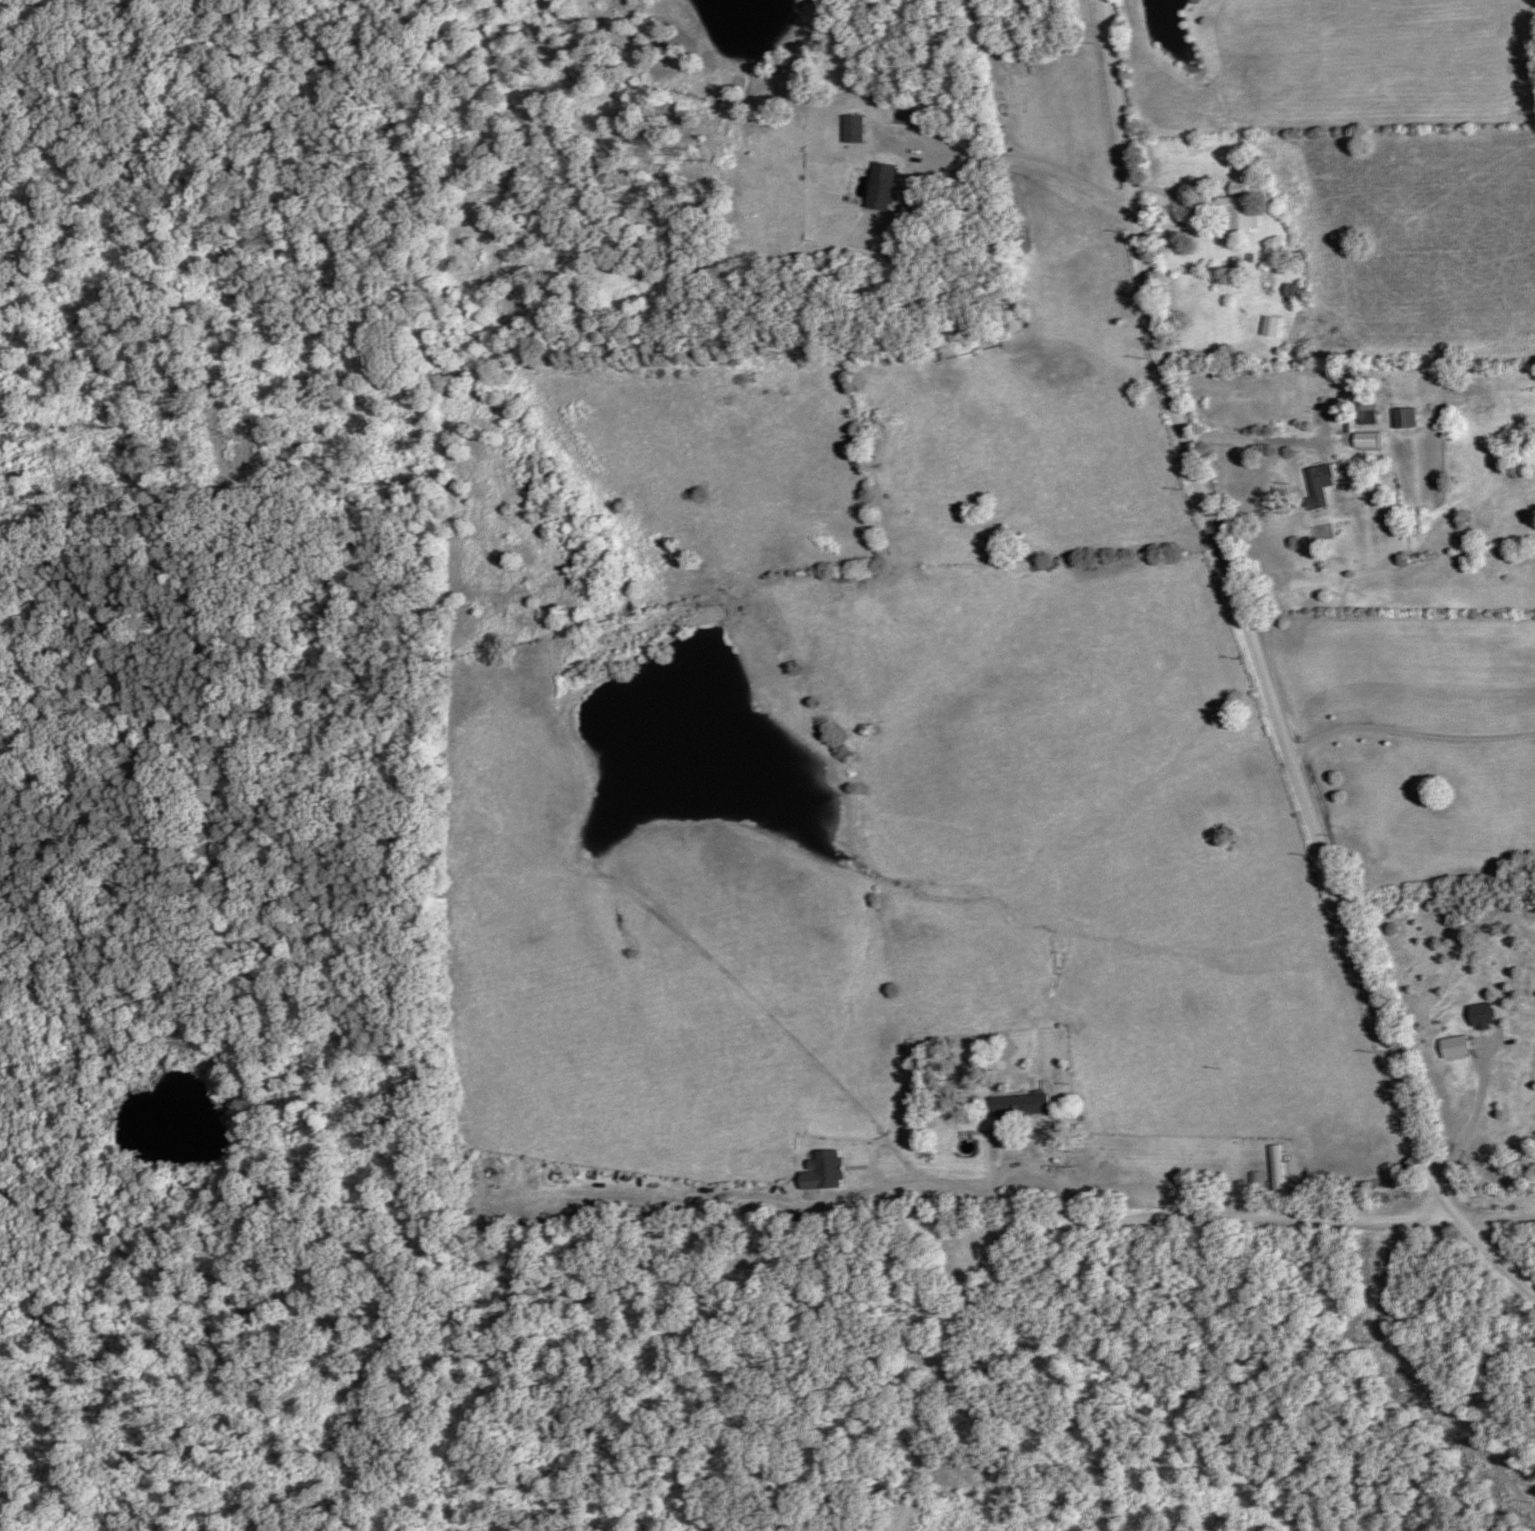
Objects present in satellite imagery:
road: (996, 79)
building: (853, 128)
road: (1025, 163)
building: (882, 186)
building: (1235, 191)
building: (1237, 212)
building: (1210, 284)
building: (1289, 339)
building: (1404, 418)
building: (1319, 484)
road: (1264, 670)
building: (1019, 1105)
road: (1021, 1168)
building: (828, 1169)
building: (1276, 1169)
road: (1495, 1216)
road: (1067, 1226)
road: (476, 1323)

